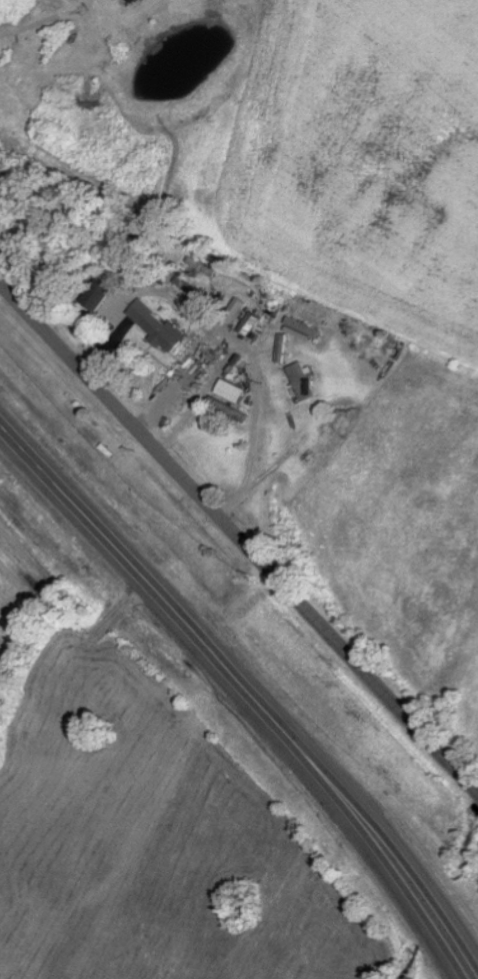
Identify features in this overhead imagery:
building: (249, 324)
building: (157, 327)
building: (281, 349)
building: (301, 383)
building: (231, 391)
building: (227, 410)
road: (238, 542)
road: (246, 694)
road: (465, 757)

